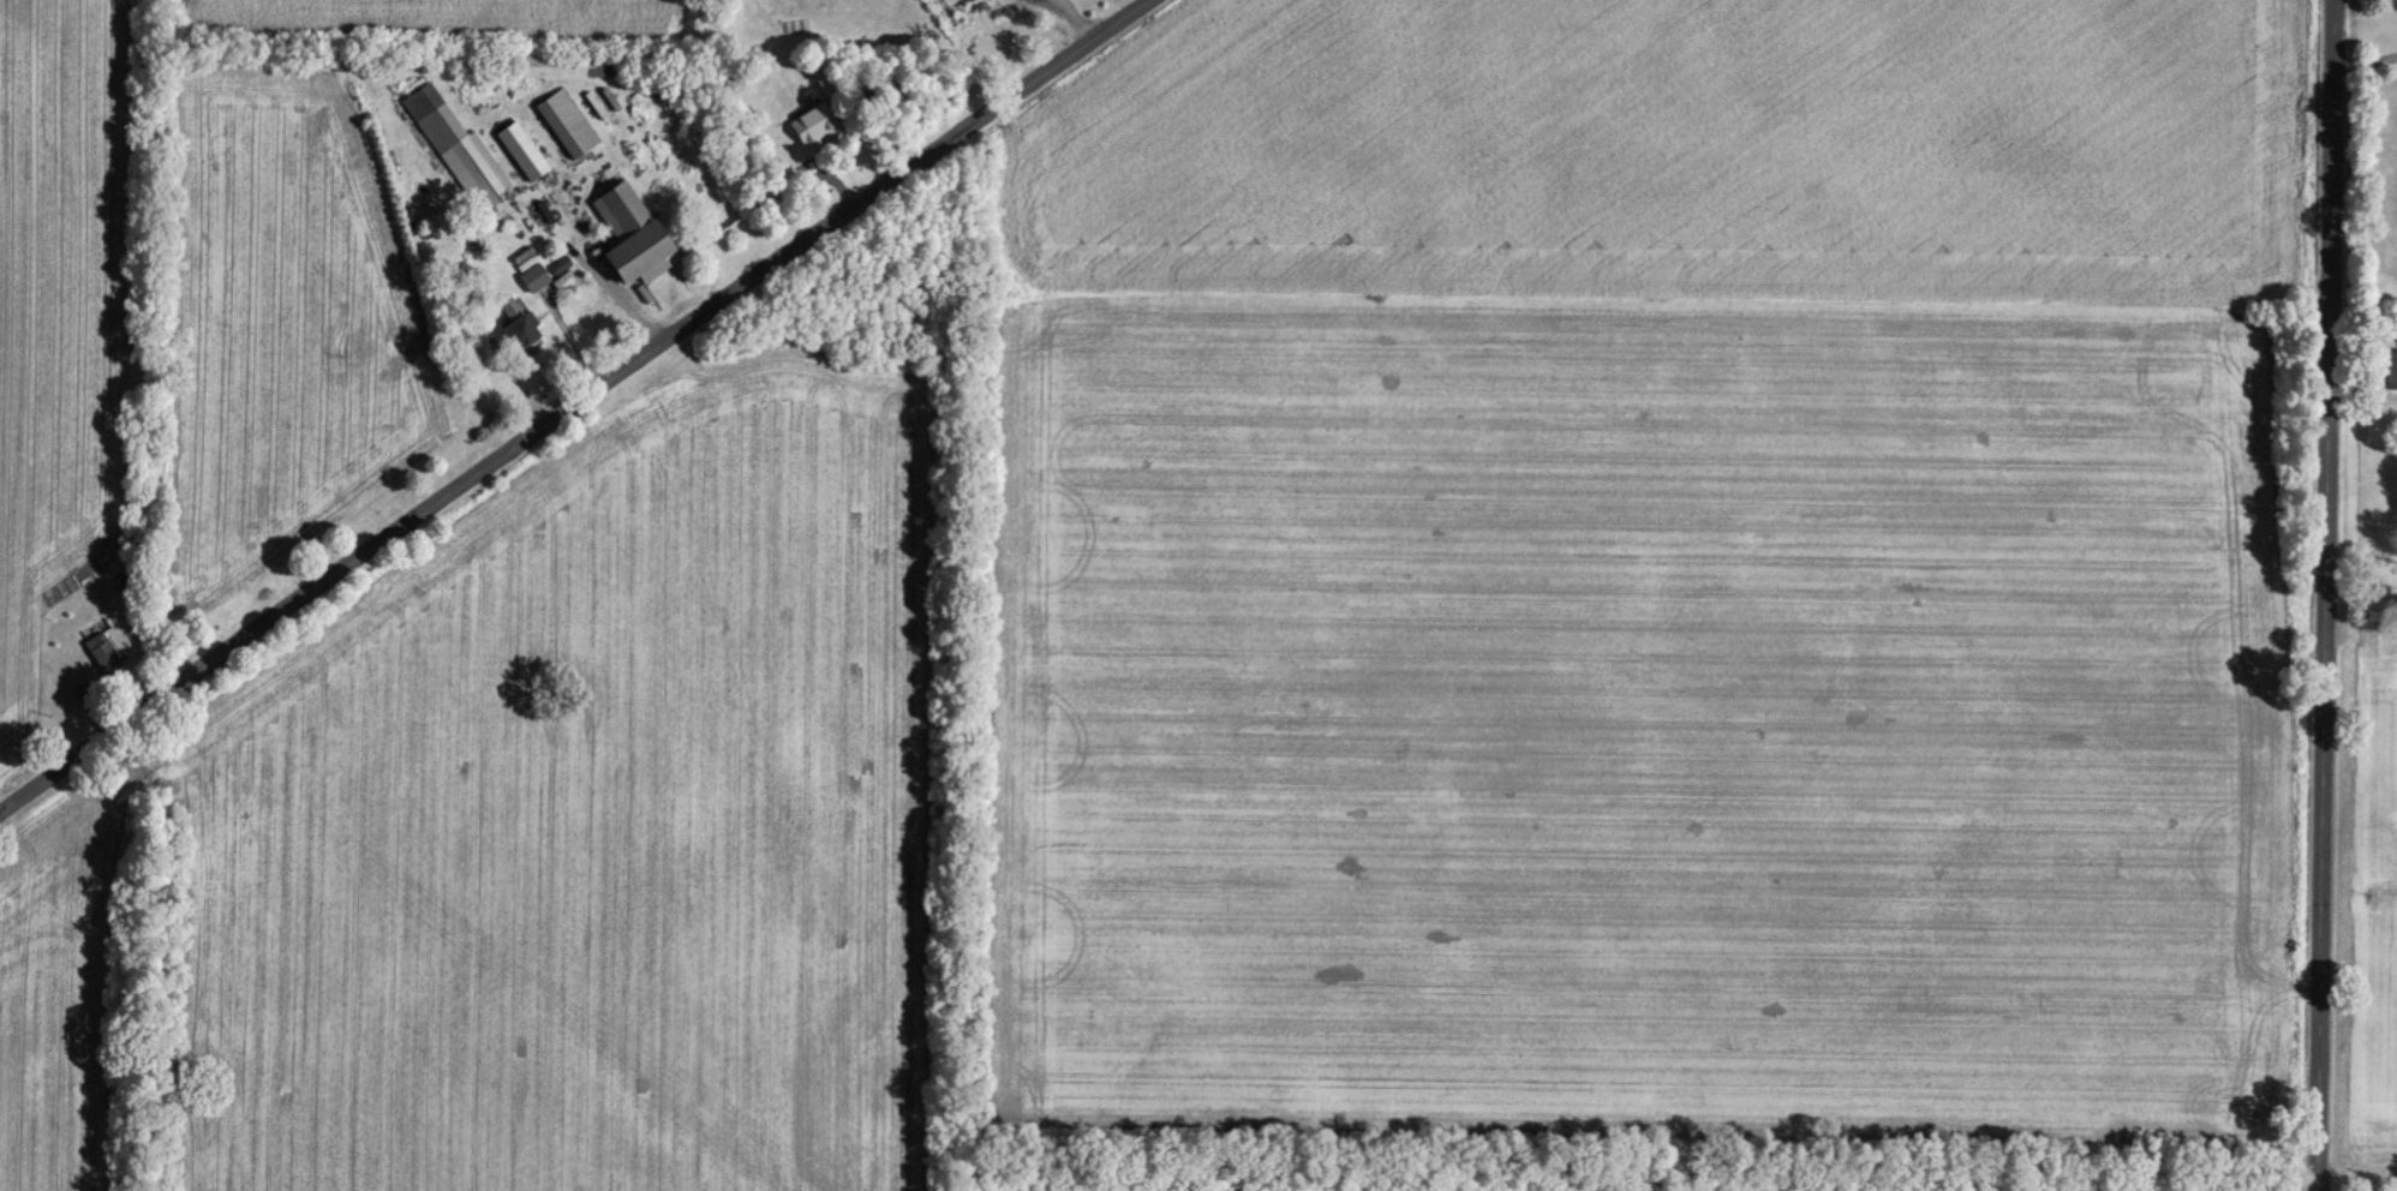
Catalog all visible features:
road: (2365, 60)
building: (569, 64)
building: (564, 120)
building: (811, 122)
building: (454, 143)
building: (628, 233)
building: (531, 276)
building: (513, 321)
road: (576, 343)
building: (468, 349)
building: (2390, 366)
road: (575, 408)
road: (2325, 595)
building: (101, 651)

